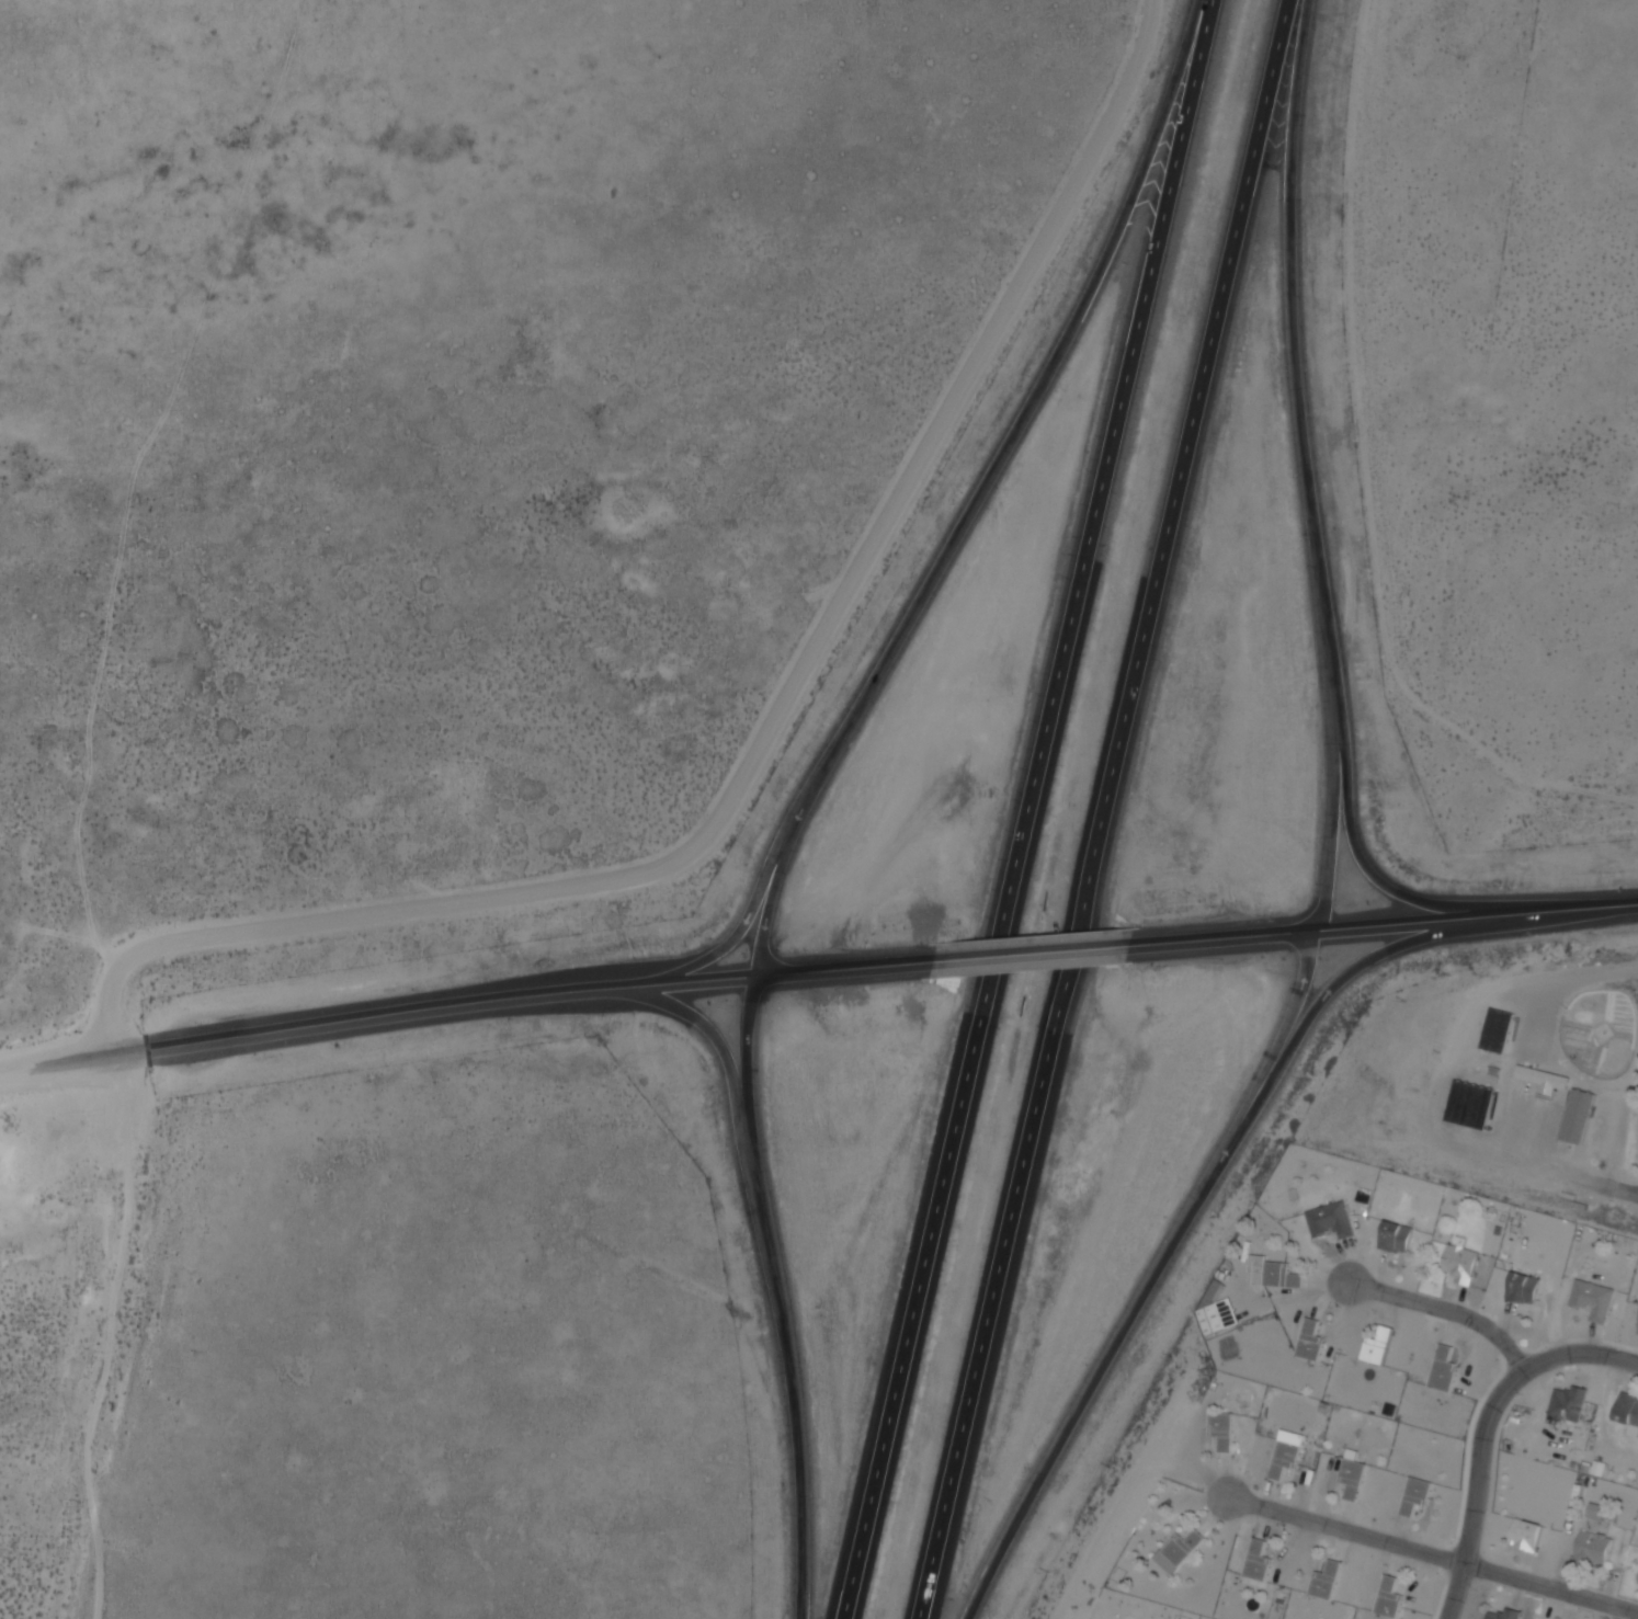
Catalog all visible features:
road: (1310, 490)
road: (965, 525)
road: (1332, 794)
road: (1030, 809)
road: (1108, 809)
road: (767, 910)
road: (1386, 915)
road: (1033, 944)
road: (846, 959)
road: (692, 1011)
road: (379, 1013)
road: (1285, 1024)
building: (1502, 1029)
building: (1546, 1079)
building: (1474, 1104)
building: (1580, 1116)
road: (1225, 1159)
building: (1329, 1220)
building: (1398, 1236)
building: (1464, 1261)
building: (1276, 1273)
building: (1525, 1288)
road: (781, 1291)
building: (1595, 1300)
road: (1445, 1309)
building: (1210, 1319)
building: (1313, 1341)
building: (1380, 1346)
building: (1446, 1369)
building: (1570, 1403)
building: (1628, 1411)
building: (1225, 1429)
road: (1486, 1430)
building: (1289, 1452)
building: (1355, 1473)
building: (1419, 1495)
building: (1597, 1510)
building: (1528, 1534)
building: (1593, 1549)
building: (1178, 1553)
road: (1431, 1553)
building: (1260, 1560)
building: (1330, 1580)
building: (1390, 1597)
building: (1505, 1614)

